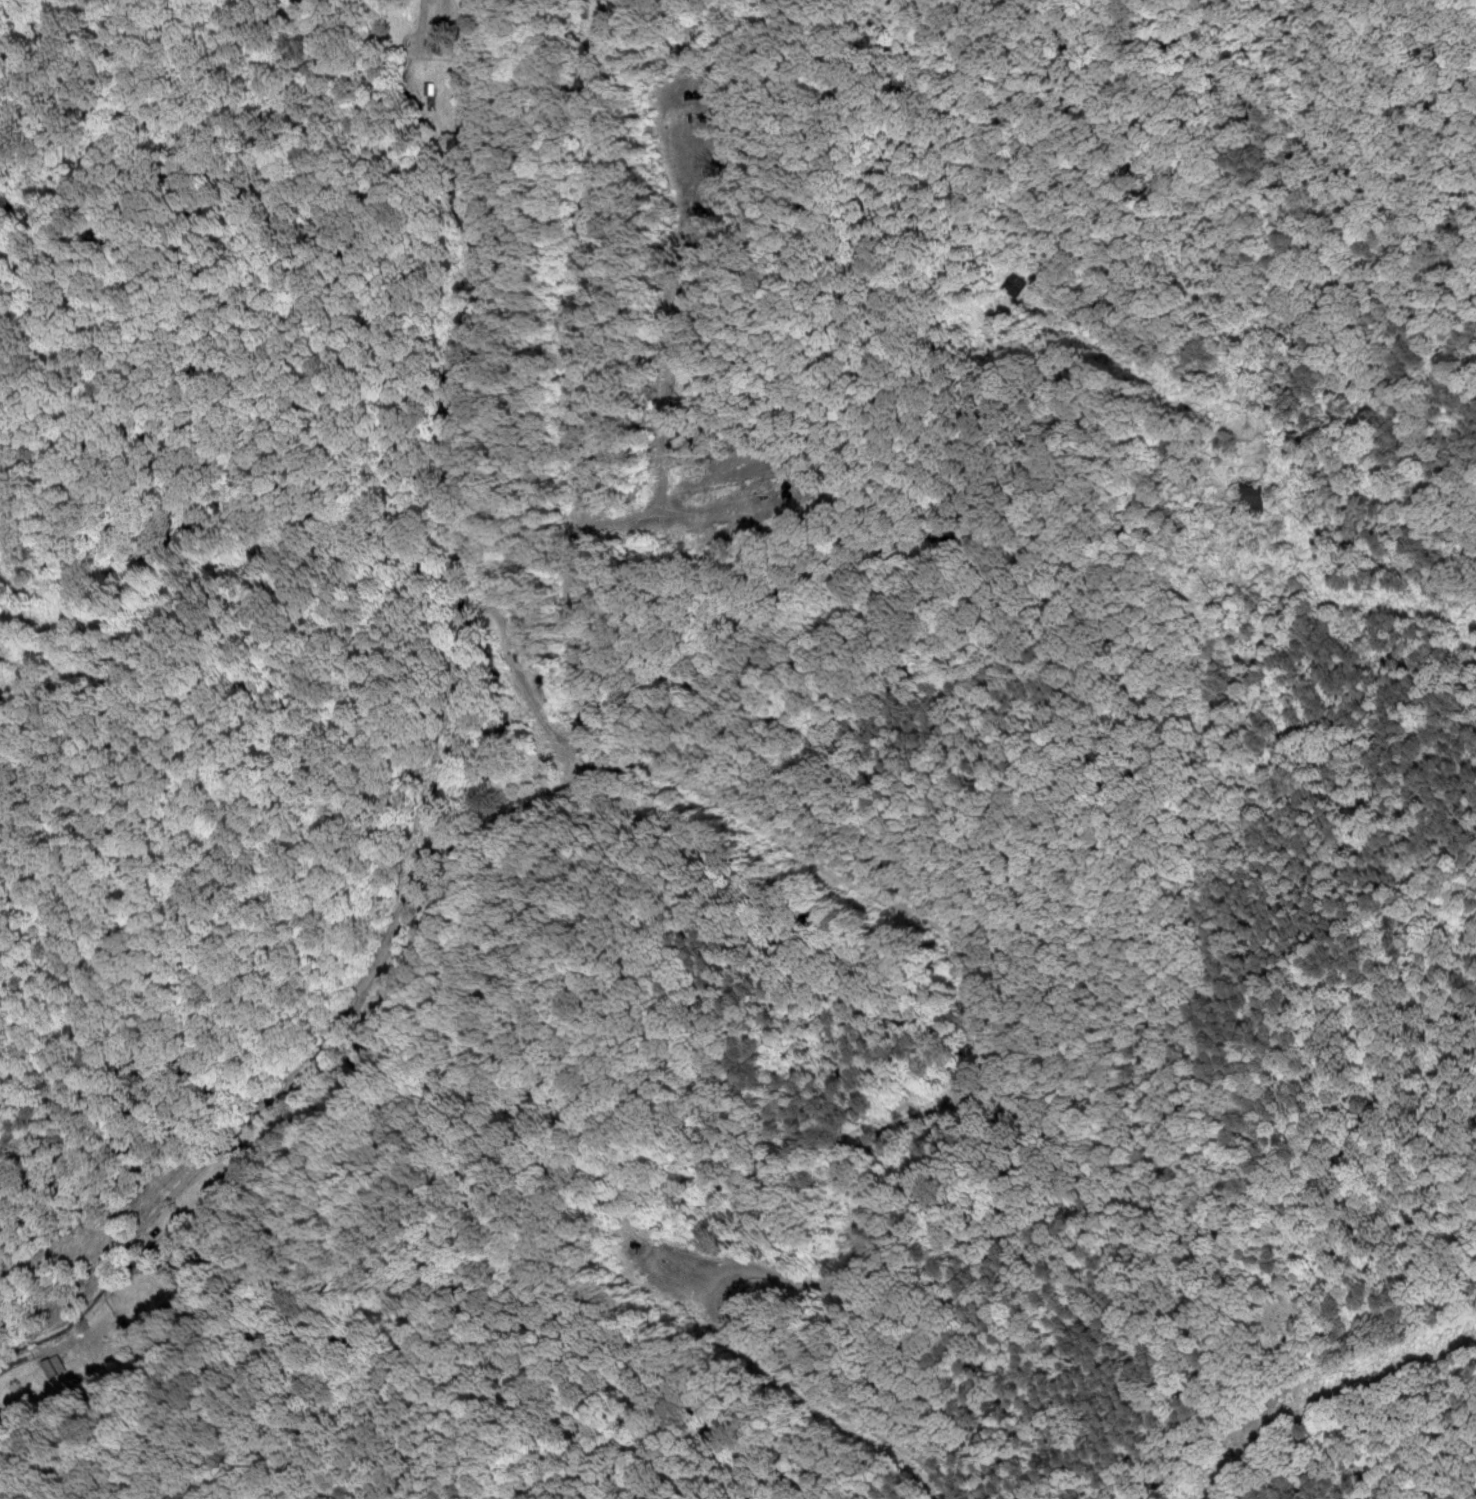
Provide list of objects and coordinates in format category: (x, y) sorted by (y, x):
road: (1223, 562)
road: (427, 715)
building: (53, 1365)

